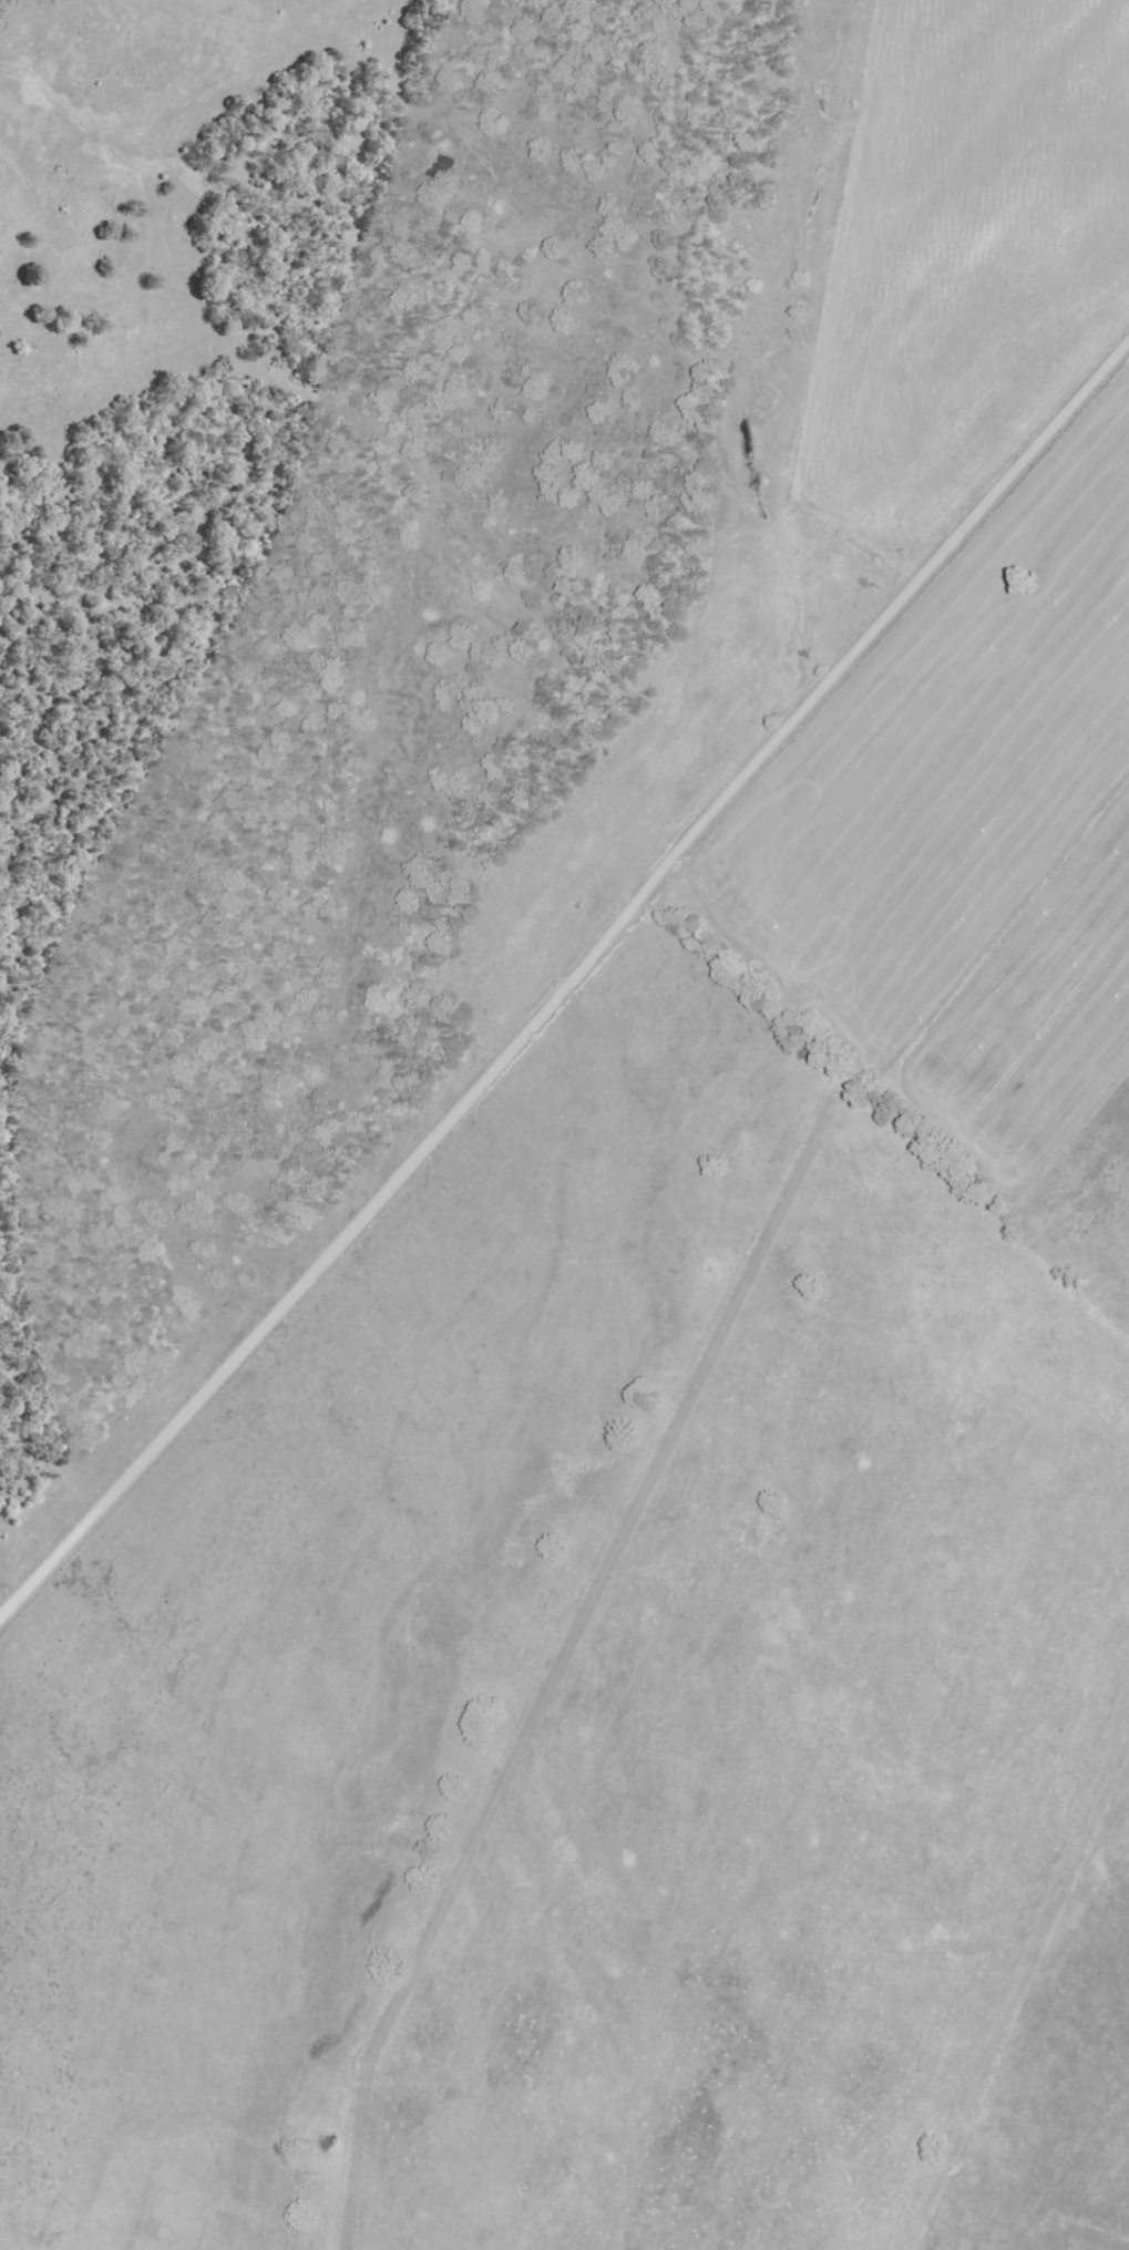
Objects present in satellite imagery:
road: (342, 823)
road: (569, 975)

